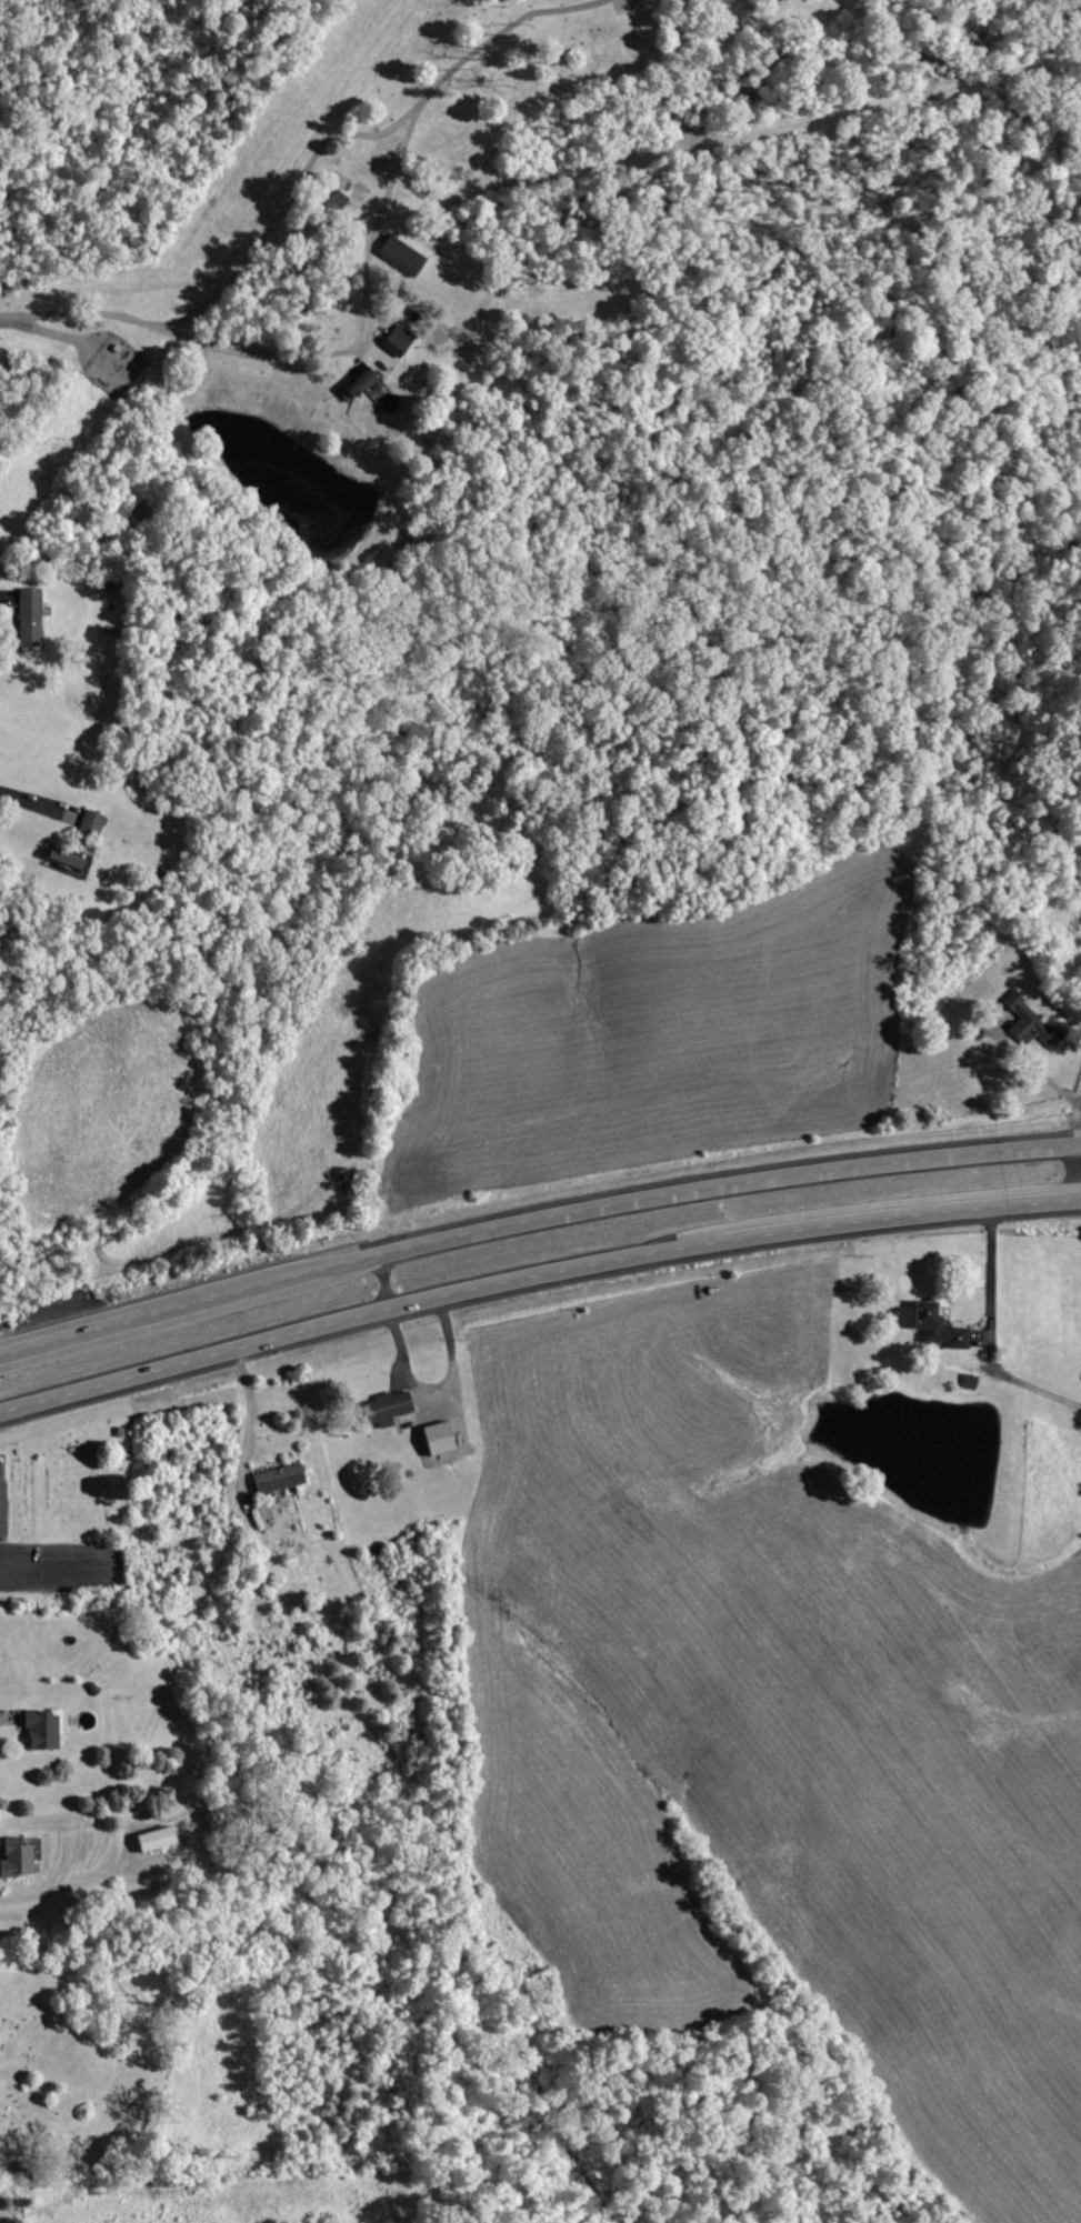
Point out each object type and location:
road: (504, 30)
road: (282, 204)
building: (399, 256)
building: (394, 339)
road: (308, 356)
building: (359, 382)
building: (27, 617)
building: (88, 821)
building: (56, 859)
building: (1028, 1022)
road: (1028, 1061)
road: (1072, 1097)
road: (707, 1183)
road: (1080, 1191)
road: (1080, 1194)
road: (892, 1216)
road: (370, 1282)
road: (169, 1309)
road: (350, 1315)
building: (932, 1328)
building: (383, 1408)
road: (243, 1429)
building: (433, 1438)
building: (274, 1479)
building: (3, 1501)
road: (50, 1565)
building: (39, 1726)
building: (149, 1838)
building: (14, 1859)
park: (68, 2057)

